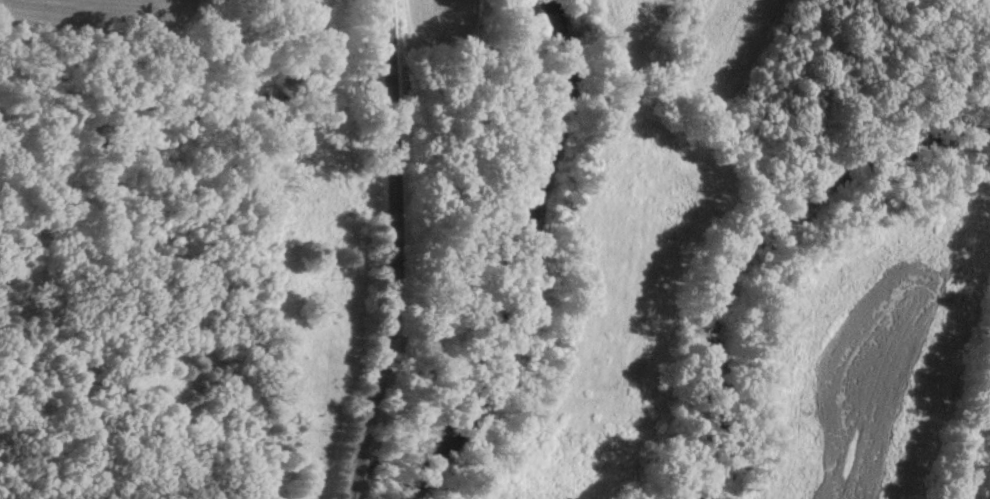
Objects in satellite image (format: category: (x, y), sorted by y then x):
river: (748, 238)
road: (393, 251)
river: (539, 266)

